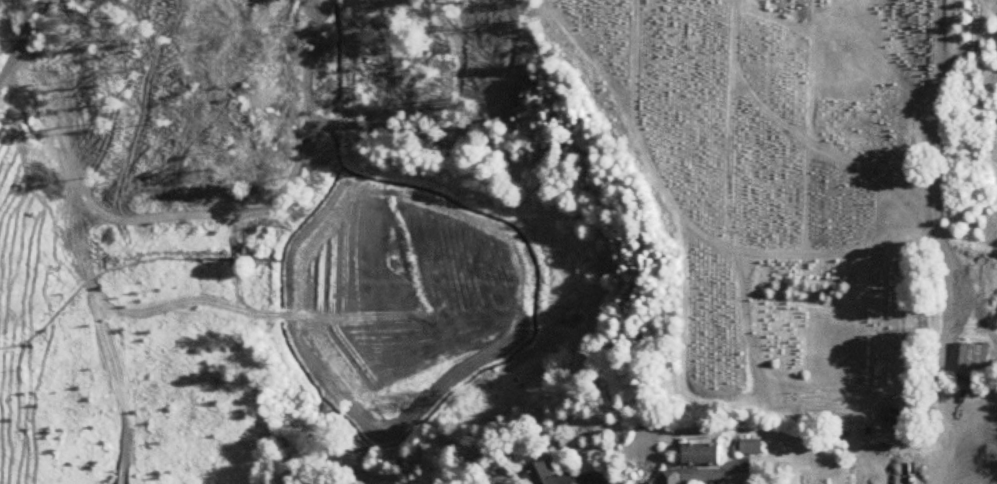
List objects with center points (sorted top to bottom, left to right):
road: (12, 29)
building: (976, 363)
building: (752, 447)
building: (703, 456)
building: (548, 475)
building: (670, 478)

